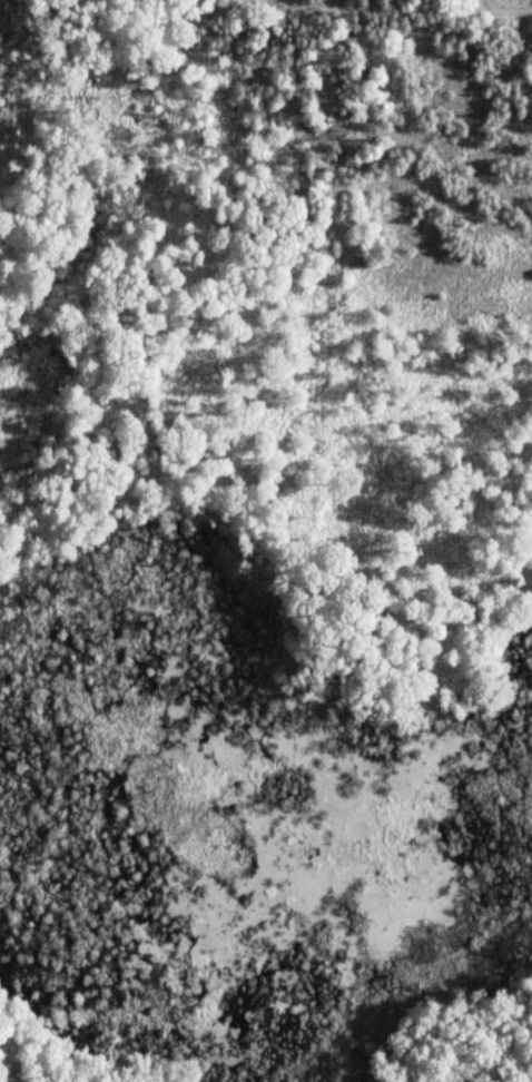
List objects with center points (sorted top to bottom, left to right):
road: (401, 18)

